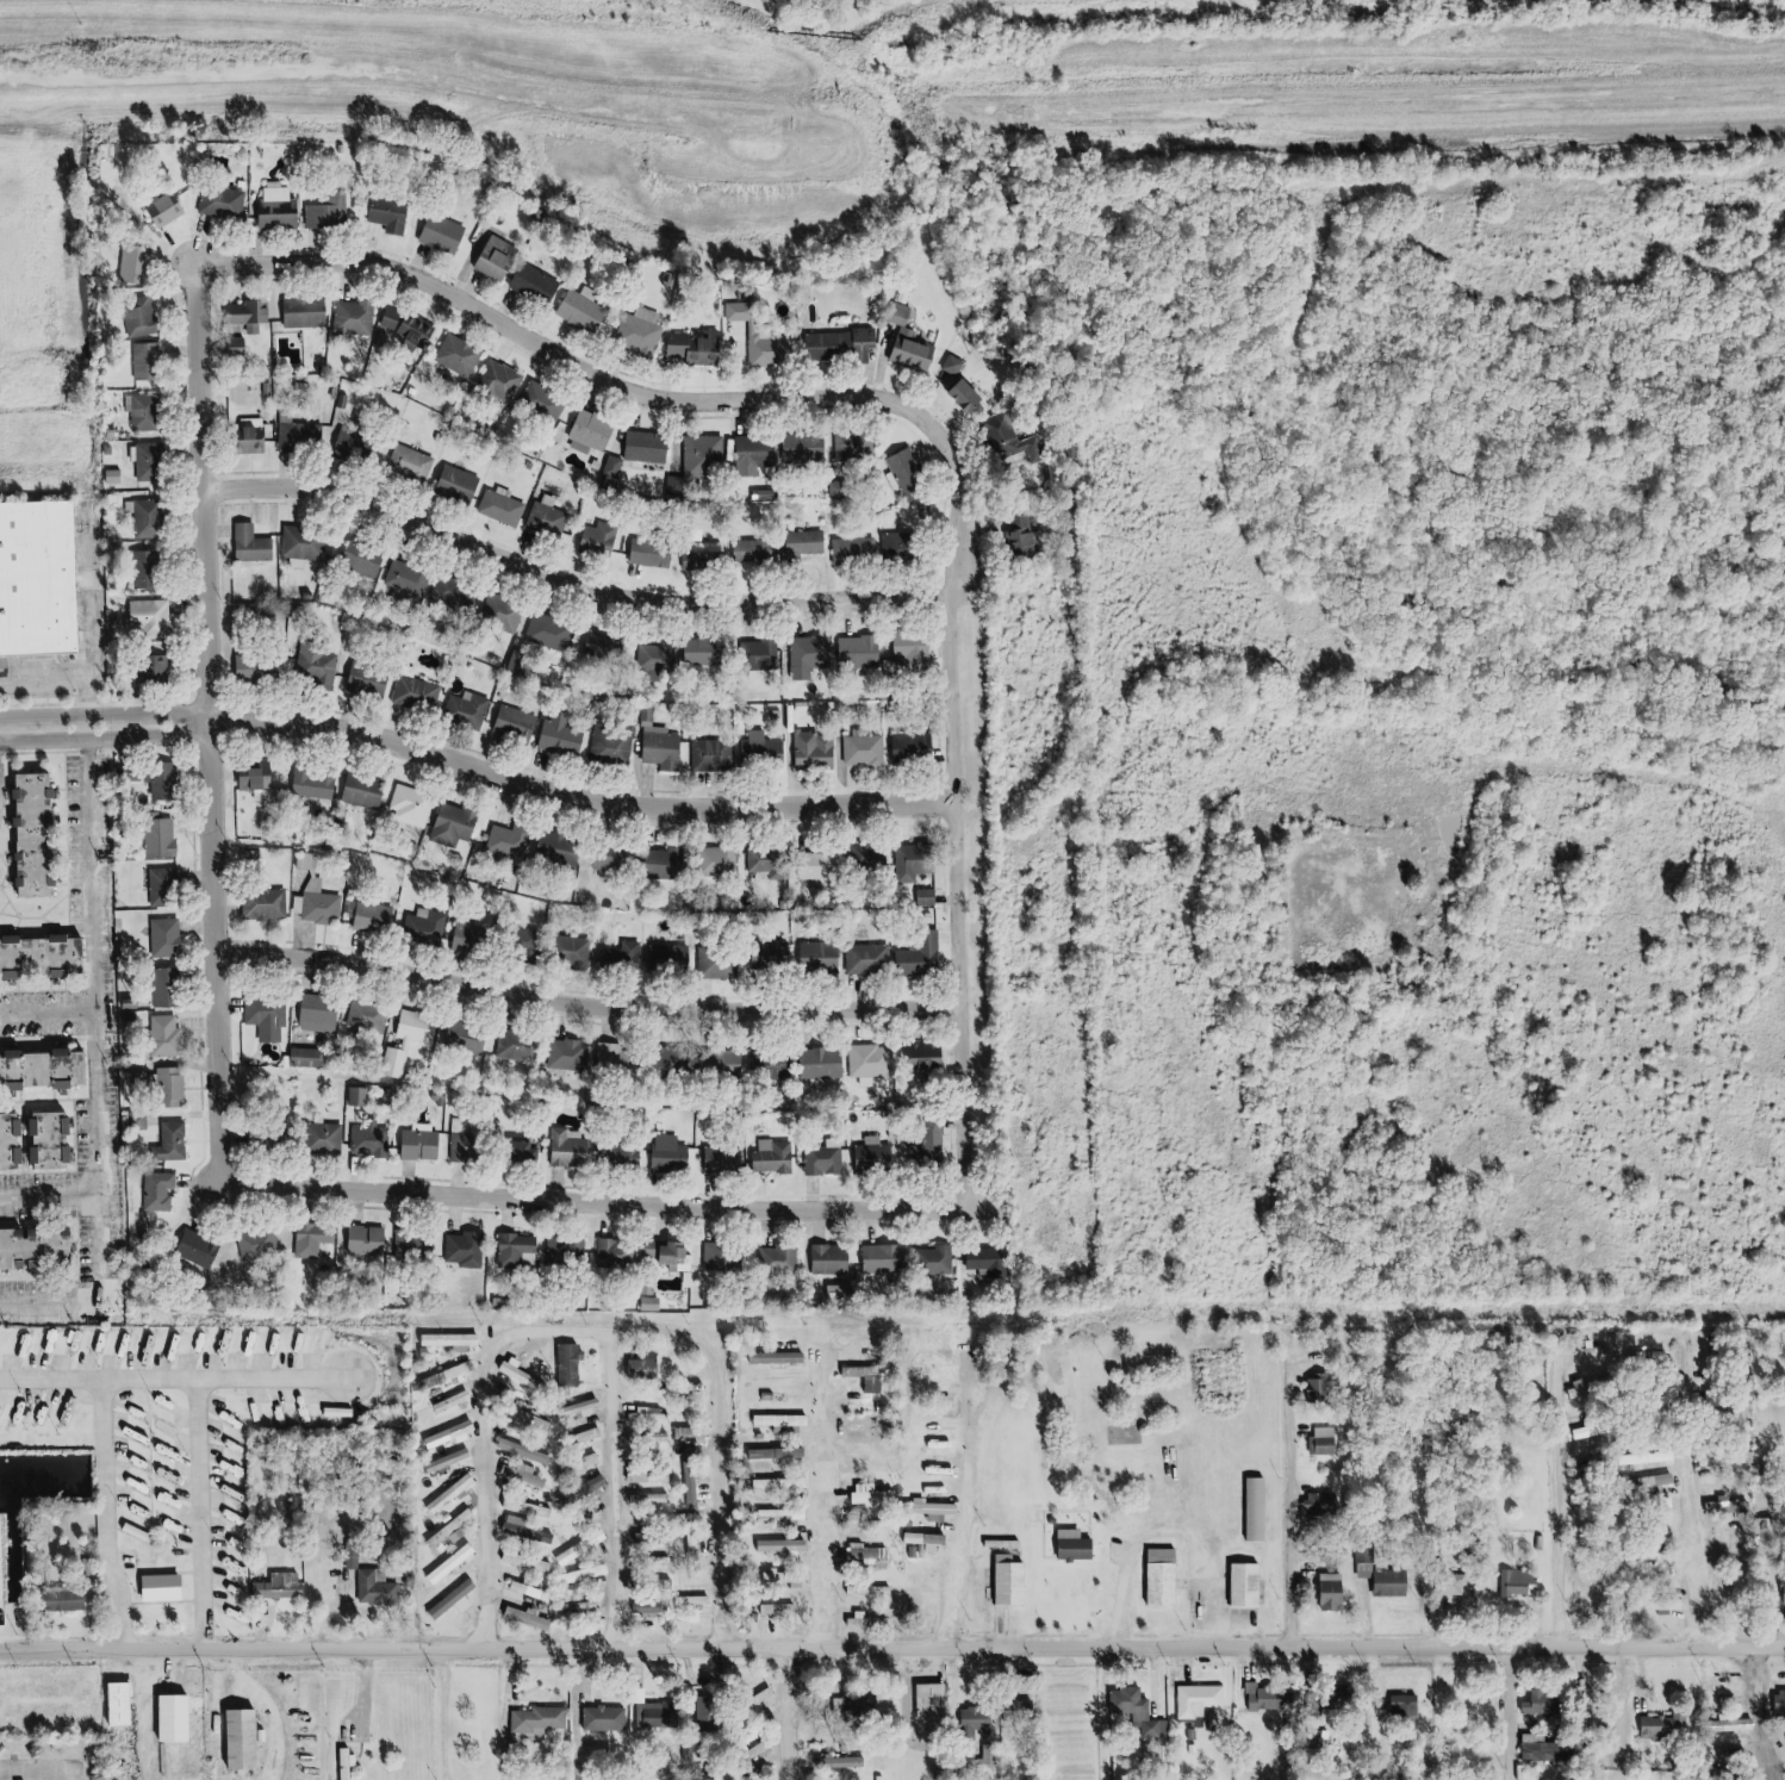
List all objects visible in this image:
road: (1376, 99)
building: (225, 203)
building: (170, 210)
building: (282, 210)
building: (331, 213)
building: (394, 214)
building: (447, 235)
building: (502, 259)
building: (139, 263)
building: (541, 285)
building: (310, 313)
building: (255, 315)
building: (143, 316)
building: (357, 317)
building: (410, 325)
building: (642, 336)
building: (765, 336)
road: (551, 344)
building: (846, 344)
building: (241, 347)
building: (701, 347)
building: (918, 350)
building: (461, 355)
building: (151, 361)
building: (958, 365)
building: (503, 380)
building: (974, 396)
building: (148, 411)
building: (593, 432)
building: (257, 435)
building: (301, 435)
building: (1014, 440)
building: (357, 444)
building: (649, 446)
building: (856, 446)
building: (807, 448)
building: (758, 455)
building: (705, 456)
building: (153, 461)
building: (415, 462)
building: (615, 467)
building: (908, 471)
building: (462, 485)
building: (505, 508)
building: (552, 515)
building: (151, 517)
building: (1027, 536)
building: (603, 539)
building: (809, 542)
building: (307, 543)
building: (257, 544)
building: (904, 546)
building: (759, 550)
building: (858, 552)
building: (652, 553)
building: (713, 553)
building: (366, 560)
building: (694, 561)
building: (151, 570)
building: (410, 578)
building: (35, 581)
road: (586, 585)
building: (454, 595)
building: (499, 609)
building: (155, 616)
building: (549, 631)
building: (603, 645)
building: (916, 651)
building: (708, 652)
building: (862, 652)
building: (761, 654)
building: (658, 655)
building: (811, 655)
building: (518, 659)
building: (321, 664)
building: (263, 667)
building: (160, 670)
building: (373, 681)
building: (419, 693)
building: (472, 708)
building: (518, 722)
building: (561, 735)
building: (611, 746)
building: (915, 746)
building: (765, 748)
building: (665, 751)
building: (865, 751)
building: (816, 752)
road: (26, 754)
building: (714, 754)
road: (485, 771)
building: (167, 780)
building: (262, 780)
building: (317, 783)
building: (367, 792)
building: (413, 805)
road: (972, 805)
building: (456, 826)
building: (25, 835)
building: (166, 836)
building: (510, 840)
road: (57, 844)
building: (561, 848)
building: (871, 857)
building: (615, 859)
building: (722, 860)
building: (770, 861)
building: (916, 861)
building: (670, 864)
building: (823, 871)
road: (222, 885)
building: (168, 886)
building: (318, 896)
building: (929, 897)
building: (267, 904)
building: (378, 916)
road: (5, 917)
road: (30, 919)
road: (48, 926)
building: (427, 926)
building: (170, 936)
building: (471, 936)
building: (578, 951)
building: (777, 954)
building: (626, 956)
building: (823, 956)
building: (37, 957)
building: (674, 958)
building: (870, 958)
building: (922, 959)
building: (719, 965)
building: (170, 987)
road: (49, 991)
road: (593, 1012)
building: (323, 1013)
road: (49, 1016)
building: (269, 1016)
building: (369, 1016)
building: (168, 1035)
building: (468, 1037)
building: (413, 1039)
building: (517, 1045)
building: (570, 1054)
building: (617, 1056)
building: (932, 1057)
building: (310, 1058)
building: (726, 1062)
building: (872, 1063)
road: (98, 1065)
building: (822, 1065)
building: (39, 1068)
building: (141, 1075)
building: (174, 1085)
building: (362, 1096)
building: (42, 1138)
building: (330, 1138)
building: (6, 1139)
building: (372, 1139)
building: (269, 1140)
building: (467, 1140)
building: (175, 1141)
building: (423, 1141)
building: (933, 1145)
building: (529, 1150)
building: (572, 1150)
building: (672, 1153)
building: (623, 1156)
building: (777, 1156)
building: (879, 1158)
building: (724, 1160)
building: (826, 1160)
road: (66, 1169)
building: (162, 1190)
road: (50, 1194)
road: (1150, 1218)
building: (316, 1238)
building: (369, 1240)
building: (417, 1244)
building: (261, 1245)
building: (31, 1249)
building: (204, 1249)
building: (468, 1249)
building: (522, 1250)
building: (568, 1251)
building: (621, 1253)
building: (676, 1256)
building: (724, 1256)
building: (887, 1257)
building: (783, 1258)
building: (834, 1258)
building: (938, 1259)
building: (991, 1261)
building: (842, 1292)
building: (655, 1303)
road: (661, 1330)
building: (455, 1340)
building: (782, 1357)
building: (572, 1365)
building: (646, 1368)
building: (458, 1371)
building: (523, 1373)
building: (871, 1377)
road: (174, 1380)
building: (654, 1417)
building: (788, 1423)
building: (455, 1433)
road: (489, 1433)
building: (1592, 1445)
building: (527, 1451)
building: (783, 1452)
building: (453, 1460)
building: (1711, 1462)
building: (652, 1475)
building: (527, 1476)
building: (695, 1483)
building: (788, 1483)
building: (455, 1494)
building: (876, 1494)
building: (653, 1499)
road: (828, 1502)
road: (1289, 1504)
building: (518, 1505)
building: (1323, 1505)
building: (1655, 1505)
building: (1261, 1508)
building: (939, 1510)
road: (1559, 1513)
road: (203, 1514)
road: (966, 1514)
road: (111, 1516)
building: (456, 1530)
building: (533, 1530)
building: (919, 1538)
building: (939, 1541)
building: (698, 1544)
building: (788, 1544)
building: (1080, 1545)
building: (869, 1551)
building: (531, 1561)
building: (456, 1563)
road: (1678, 1563)
building: (1364, 1564)
building: (1771, 1567)
building: (590, 1574)
building: (1168, 1576)
building: (789, 1577)
building: (1016, 1580)
building: (1393, 1582)
building: (1729, 1582)
building: (1251, 1585)
building: (1528, 1585)
building: (285, 1586)
building: (1451, 1586)
building: (1597, 1586)
building: (169, 1588)
building: (380, 1588)
building: (866, 1589)
building: (535, 1591)
building: (1780, 1594)
building: (74, 1600)
building: (459, 1600)
building: (698, 1600)
building: (1657, 1602)
building: (653, 1608)
building: (782, 1610)
building: (534, 1618)
building: (862, 1619)
road: (839, 1633)
road: (893, 1648)
building: (1580, 1692)
building: (1270, 1697)
building: (1202, 1700)
building: (937, 1701)
building: (128, 1703)
building: (1543, 1703)
building: (859, 1706)
building: (1407, 1707)
building: (1777, 1707)
road: (1517, 1711)
road: (1629, 1711)
building: (1735, 1711)
building: (1142, 1712)
road: (1766, 1712)
building: (715, 1713)
road: (797, 1713)
building: (660, 1714)
building: (182, 1718)
building: (608, 1718)
building: (987, 1722)
building: (541, 1723)
building: (1663, 1729)
building: (1544, 1753)
building: (353, 1762)
building: (846, 1762)

